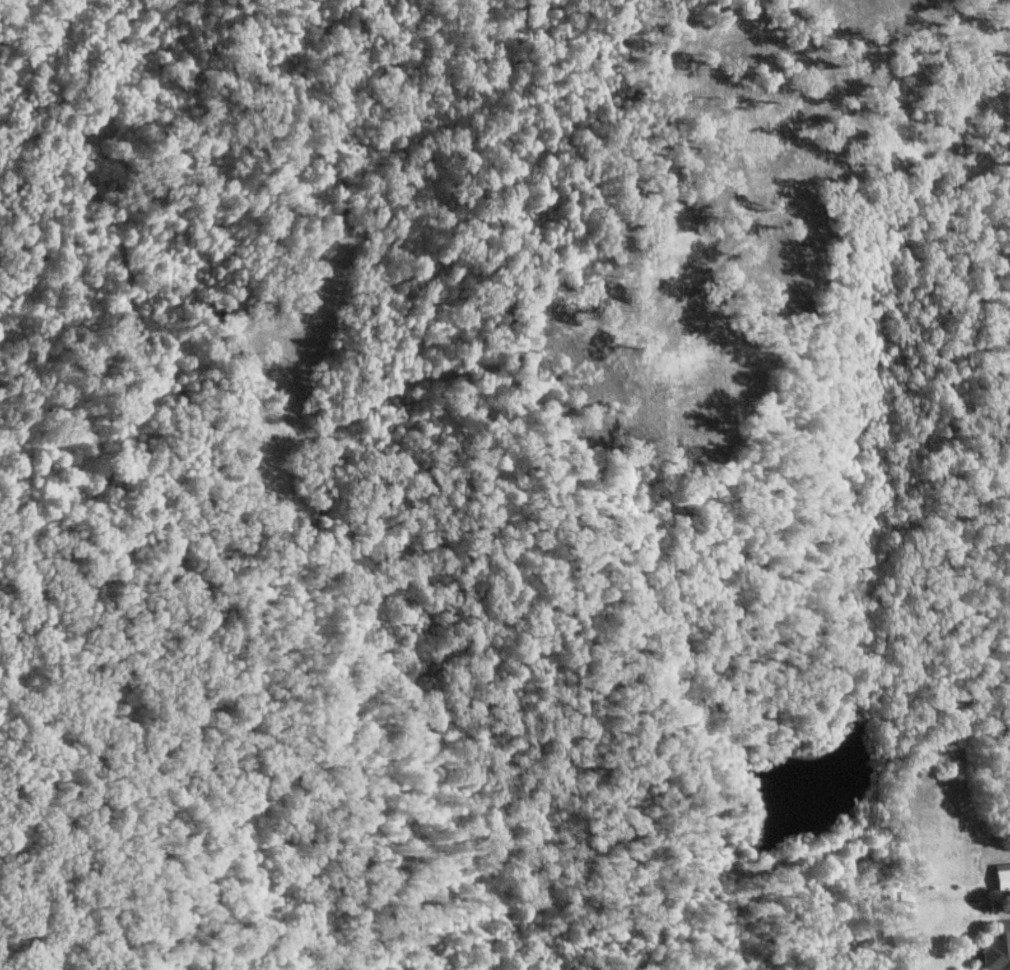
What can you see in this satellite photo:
building: (1001, 877)
building: (995, 949)

